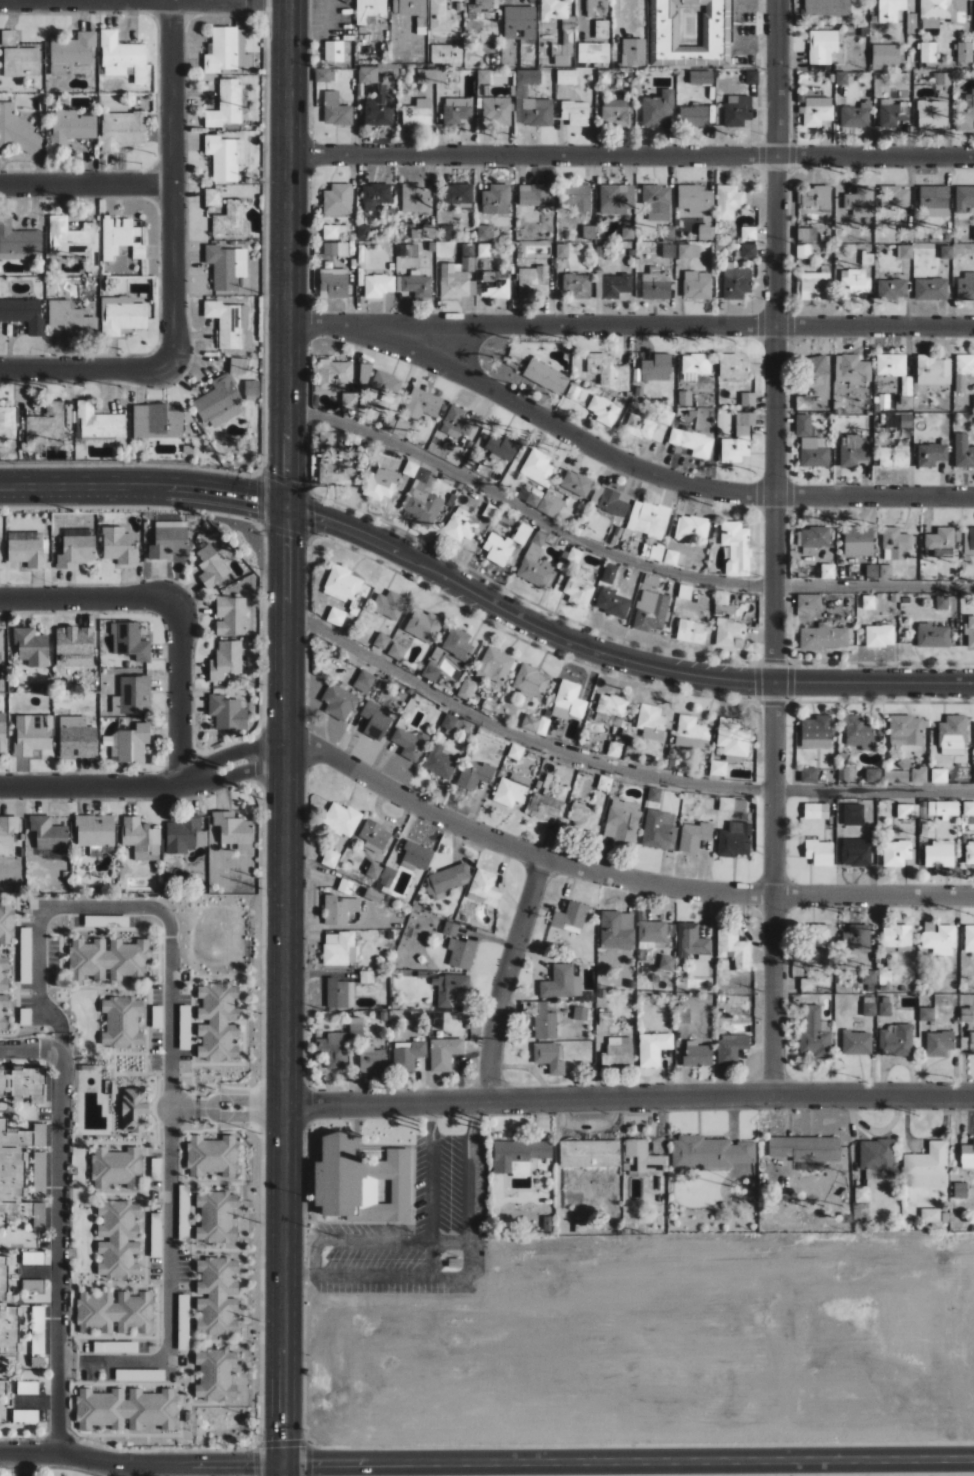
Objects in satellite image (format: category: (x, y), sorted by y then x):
building: (458, 0)
building: (482, 6)
building: (597, 8)
building: (827, 8)
building: (370, 10)
building: (554, 10)
building: (890, 10)
building: (942, 12)
building: (442, 17)
building: (519, 22)
building: (602, 29)
building: (690, 32)
building: (8, 38)
building: (822, 45)
building: (227, 51)
building: (337, 51)
building: (72, 52)
building: (594, 52)
building: (633, 52)
building: (928, 52)
building: (965, 52)
building: (446, 55)
building: (886, 55)
building: (123, 57)
building: (21, 62)
building: (368, 74)
building: (325, 75)
building: (426, 76)
building: (528, 76)
building: (566, 76)
building: (701, 77)
building: (751, 77)
building: (841, 78)
building: (944, 78)
building: (227, 105)
building: (458, 109)
building: (657, 109)
building: (335, 110)
building: (737, 110)
building: (377, 111)
building: (496, 111)
building: (817, 111)
building: (536, 112)
building: (616, 112)
building: (418, 113)
building: (575, 113)
building: (892, 113)
building: (965, 113)
building: (932, 114)
building: (855, 115)
building: (693, 116)
building: (72, 127)
building: (123, 130)
building: (16, 131)
road: (631, 155)
building: (225, 157)
road: (171, 182)
road: (85, 184)
building: (535, 194)
building: (457, 195)
building: (375, 196)
building: (578, 196)
building: (213, 197)
building: (816, 197)
building: (416, 198)
building: (695, 198)
building: (895, 198)
building: (616, 199)
building: (964, 199)
building: (338, 200)
building: (496, 200)
building: (860, 201)
building: (657, 202)
building: (729, 202)
building: (934, 202)
building: (583, 218)
building: (231, 221)
building: (335, 231)
building: (363, 232)
building: (447, 232)
building: (488, 232)
building: (588, 232)
building: (668, 233)
building: (706, 233)
building: (748, 233)
building: (808, 234)
building: (972, 234)
building: (68, 237)
building: (18, 239)
building: (121, 239)
building: (335, 249)
building: (409, 250)
building: (484, 250)
building: (562, 251)
building: (668, 251)
building: (689, 251)
building: (749, 251)
building: (804, 251)
building: (905, 251)
building: (947, 252)
building: (12, 256)
building: (867, 258)
building: (226, 266)
building: (456, 279)
building: (534, 281)
building: (736, 282)
building: (333, 283)
building: (495, 284)
building: (853, 284)
building: (378, 285)
building: (417, 285)
building: (612, 285)
building: (697, 285)
building: (576, 286)
building: (656, 286)
building: (814, 286)
building: (966, 286)
building: (892, 289)
building: (931, 289)
building: (23, 313)
building: (122, 316)
building: (69, 319)
building: (225, 323)
road: (632, 324)
building: (696, 364)
building: (891, 364)
road: (82, 365)
building: (237, 366)
building: (657, 368)
building: (732, 368)
building: (852, 369)
building: (934, 370)
building: (608, 371)
building: (817, 371)
building: (963, 371)
building: (335, 373)
building: (365, 373)
building: (546, 377)
building: (387, 383)
building: (251, 388)
building: (217, 397)
building: (684, 398)
building: (748, 399)
building: (350, 401)
building: (422, 404)
building: (604, 411)
building: (226, 415)
building: (149, 420)
building: (893, 420)
building: (99, 422)
building: (387, 424)
building: (459, 424)
building: (7, 425)
building: (803, 425)
building: (649, 426)
building: (738, 439)
building: (692, 443)
building: (502, 449)
building: (853, 451)
building: (963, 451)
building: (814, 453)
building: (932, 454)
building: (894, 457)
building: (537, 466)
building: (334, 470)
road: (654, 473)
road: (142, 483)
building: (380, 484)
building: (576, 485)
building: (530, 497)
building: (422, 498)
building: (609, 501)
building: (550, 505)
building: (648, 519)
building: (462, 525)
building: (691, 528)
building: (524, 531)
building: (814, 539)
building: (941, 539)
building: (168, 540)
building: (858, 541)
building: (971, 541)
building: (895, 544)
building: (498, 545)
building: (118, 546)
building: (736, 548)
road: (776, 549)
building: (74, 551)
building: (27, 552)
road: (616, 554)
building: (573, 555)
building: (671, 557)
building: (536, 562)
building: (211, 567)
building: (828, 571)
building: (872, 571)
building: (886, 571)
building: (610, 574)
building: (651, 580)
building: (346, 588)
building: (579, 591)
building: (722, 597)
road: (91, 598)
building: (613, 603)
building: (942, 603)
building: (808, 604)
building: (390, 606)
building: (651, 611)
building: (230, 616)
building: (336, 617)
building: (423, 625)
building: (970, 631)
building: (691, 632)
building: (730, 633)
building: (880, 636)
building: (933, 636)
building: (824, 638)
building: (381, 641)
building: (130, 642)
building: (458, 644)
building: (0, 645)
building: (31, 646)
building: (74, 647)
road: (614, 650)
building: (397, 652)
building: (225, 660)
building: (495, 665)
building: (433, 666)
building: (364, 681)
building: (531, 682)
building: (466, 689)
road: (179, 691)
building: (133, 696)
building: (569, 701)
building: (339, 702)
building: (611, 709)
building: (227, 714)
building: (375, 721)
building: (652, 722)
building: (448, 723)
building: (535, 724)
building: (908, 729)
building: (3, 732)
building: (691, 732)
building: (816, 732)
building: (859, 732)
building: (32, 734)
building: (953, 736)
road: (285, 737)
building: (76, 738)
building: (732, 738)
building: (410, 743)
building: (129, 744)
road: (227, 752)
building: (515, 752)
building: (440, 763)
road: (613, 767)
building: (715, 768)
building: (843, 774)
building: (475, 775)
building: (809, 775)
building: (919, 775)
building: (873, 776)
building: (939, 776)
road: (231, 777)
building: (896, 777)
building: (604, 783)
road: (88, 786)
building: (511, 790)
building: (654, 795)
building: (732, 805)
building: (545, 806)
building: (943, 809)
building: (968, 809)
building: (816, 811)
building: (854, 811)
building: (908, 811)
building: (584, 818)
building: (341, 819)
building: (622, 822)
building: (233, 829)
building: (95, 830)
building: (659, 830)
building: (7, 832)
building: (48, 834)
building: (182, 835)
building: (694, 836)
building: (374, 837)
building: (141, 839)
building: (735, 840)
building: (387, 847)
building: (819, 853)
building: (896, 853)
building: (939, 854)
building: (970, 854)
building: (856, 855)
building: (416, 856)
building: (330, 859)
building: (372, 874)
building: (387, 877)
road: (614, 880)
building: (446, 881)
building: (345, 887)
building: (484, 888)
building: (339, 910)
building: (570, 916)
building: (6, 924)
building: (451, 929)
building: (652, 932)
building: (615, 933)
building: (820, 937)
building: (898, 938)
building: (939, 939)
building: (969, 939)
building: (857, 941)
building: (693, 942)
building: (735, 948)
building: (340, 949)
building: (461, 953)
building: (106, 961)
building: (667, 963)
building: (1, 974)
building: (366, 977)
road: (507, 977)
building: (875, 978)
building: (562, 983)
building: (451, 989)
building: (339, 994)
building: (885, 1006)
building: (869, 1007)
building: (2, 1010)
building: (581, 1014)
building: (926, 1015)
building: (966, 1015)
building: (683, 1019)
building: (545, 1022)
building: (122, 1023)
building: (217, 1023)
building: (356, 1025)
building: (815, 1034)
building: (895, 1040)
road: (60, 1043)
building: (857, 1043)
building: (971, 1043)
building: (939, 1044)
road: (169, 1049)
building: (653, 1049)
building: (731, 1049)
building: (335, 1050)
building: (619, 1052)
building: (444, 1053)
building: (408, 1055)
building: (697, 1055)
building: (550, 1057)
building: (372, 1060)
building: (22, 1083)
road: (629, 1100)
road: (242, 1105)
road: (184, 1108)
building: (133, 1110)
building: (805, 1148)
building: (589, 1153)
building: (710, 1153)
building: (212, 1155)
building: (643, 1155)
building: (967, 1155)
building: (518, 1156)
building: (877, 1159)
building: (116, 1166)
building: (927, 1166)
building: (38, 1167)
building: (18, 1170)
building: (361, 1182)
road: (430, 1188)
building: (960, 1189)
building: (862, 1193)
building: (934, 1216)
building: (214, 1217)
road: (55, 1223)
building: (119, 1240)
road: (375, 1240)
building: (33, 1258)
building: (454, 1262)
road: (463, 1277)
building: (33, 1286)
building: (217, 1294)
building: (115, 1313)
building: (7, 1316)
building: (38, 1336)
road: (65, 1361)
building: (214, 1374)
building: (3, 1386)
building: (28, 1387)
building: (126, 1409)
road: (139, 1461)
road: (627, 1462)
road: (23, 1464)
road: (224, 1468)
road: (118, 1469)

